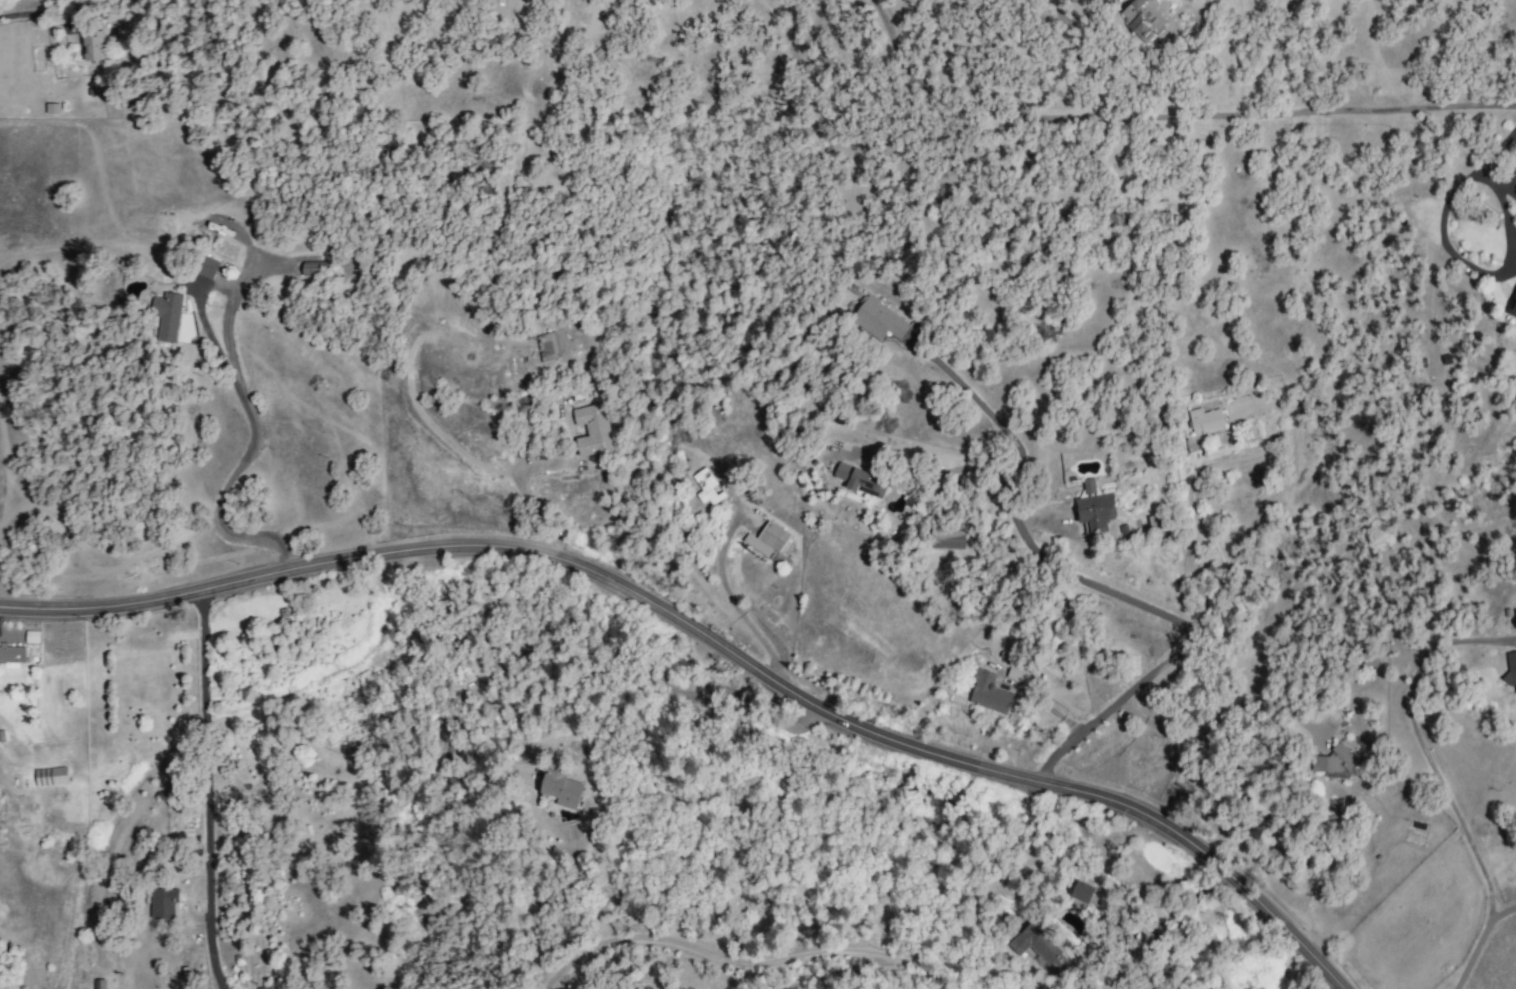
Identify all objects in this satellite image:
building: (1142, 19)
road: (37, 24)
building: (90, 45)
road: (1168, 116)
road: (1496, 148)
building: (208, 268)
building: (307, 269)
road: (1482, 272)
building: (166, 315)
building: (877, 320)
building: (547, 347)
road: (990, 415)
building: (1204, 421)
building: (591, 429)
road: (252, 440)
building: (860, 481)
building: (707, 487)
building: (1154, 524)
building: (767, 539)
building: (945, 539)
road: (726, 592)
road: (1181, 625)
building: (31, 637)
road: (713, 638)
road: (560, 647)
building: (12, 656)
building: (1510, 669)
building: (1018, 673)
building: (986, 692)
building: (1332, 760)
building: (50, 776)
road: (1436, 778)
building: (560, 787)
road: (210, 788)
building: (1083, 893)
building: (161, 903)
road: (1499, 913)
building: (1035, 947)
road: (742, 961)
road: (837, 971)
building: (98, 984)

